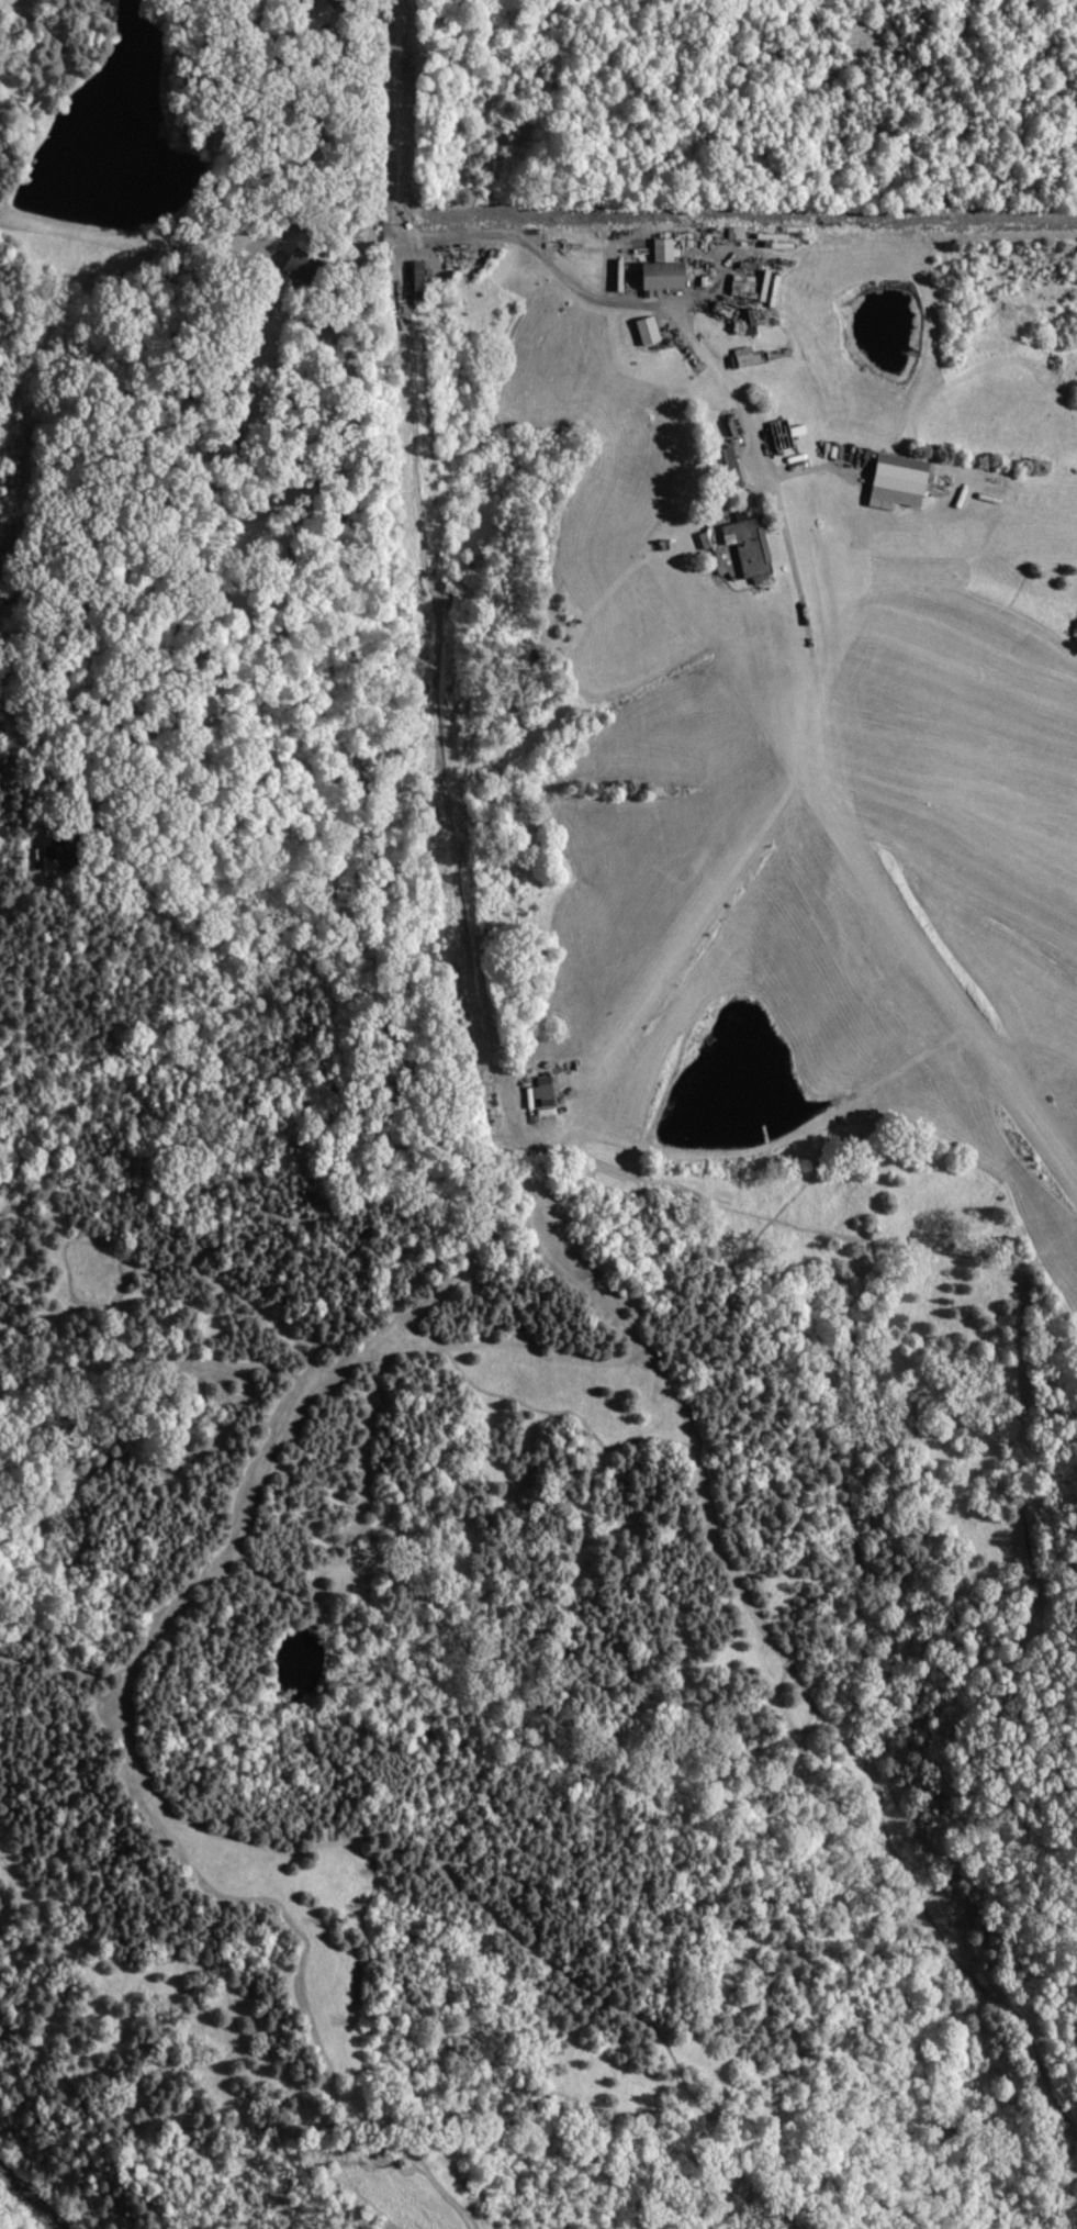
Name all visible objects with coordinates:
road: (385, 101)
road: (371, 192)
building: (733, 233)
building: (651, 268)
building: (412, 279)
building: (739, 283)
building: (745, 321)
building: (642, 330)
road: (685, 332)
building: (742, 357)
building: (781, 434)
building: (891, 482)
building: (744, 547)
building: (48, 854)
road: (25, 893)
building: (540, 1091)
railway: (24, 2200)

